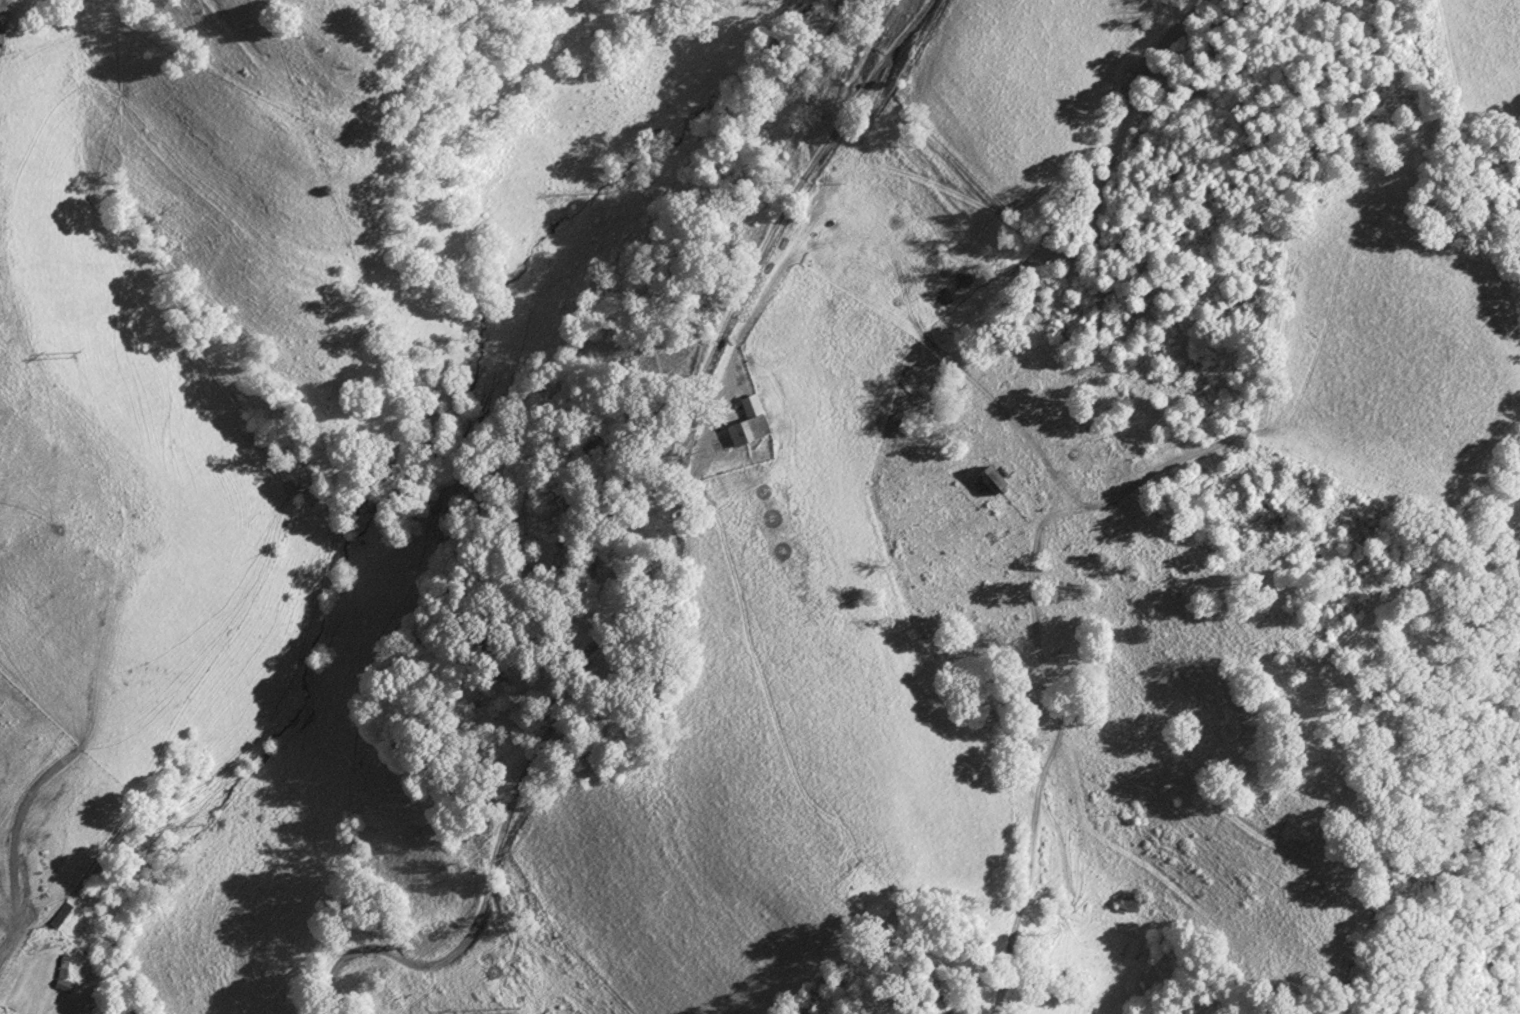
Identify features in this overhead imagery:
crop: (68, 407)
building: (748, 420)
building: (989, 479)
road: (666, 568)
road: (1126, 757)
crop: (44, 811)
building: (1128, 904)
building: (59, 917)

